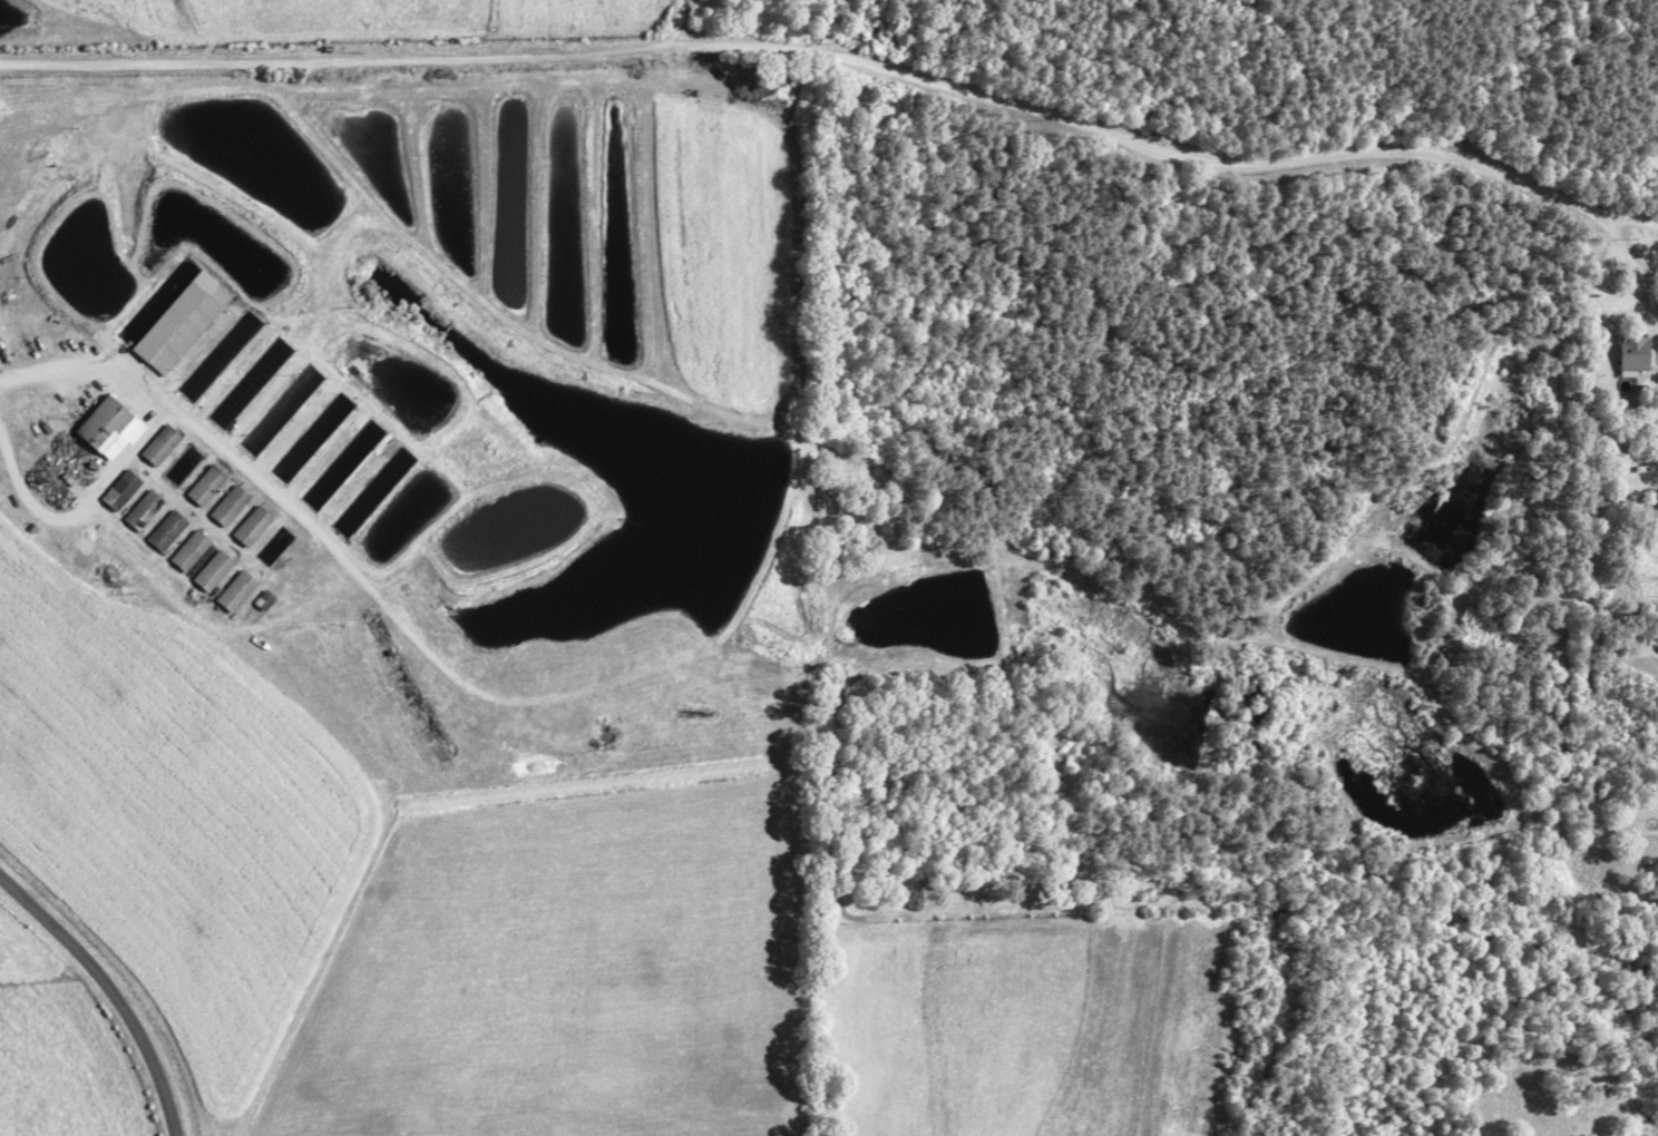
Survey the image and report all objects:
road: (821, 28)
road: (841, 61)
road: (1635, 272)
building: (179, 322)
building: (1631, 354)
road: (1654, 376)
road: (164, 400)
building: (107, 427)
building: (159, 444)
building: (204, 484)
building: (119, 489)
road: (76, 503)
building: (227, 506)
building: (143, 509)
building: (250, 526)
building: (188, 550)
building: (211, 572)
building: (234, 590)
building: (262, 599)
road: (109, 992)

